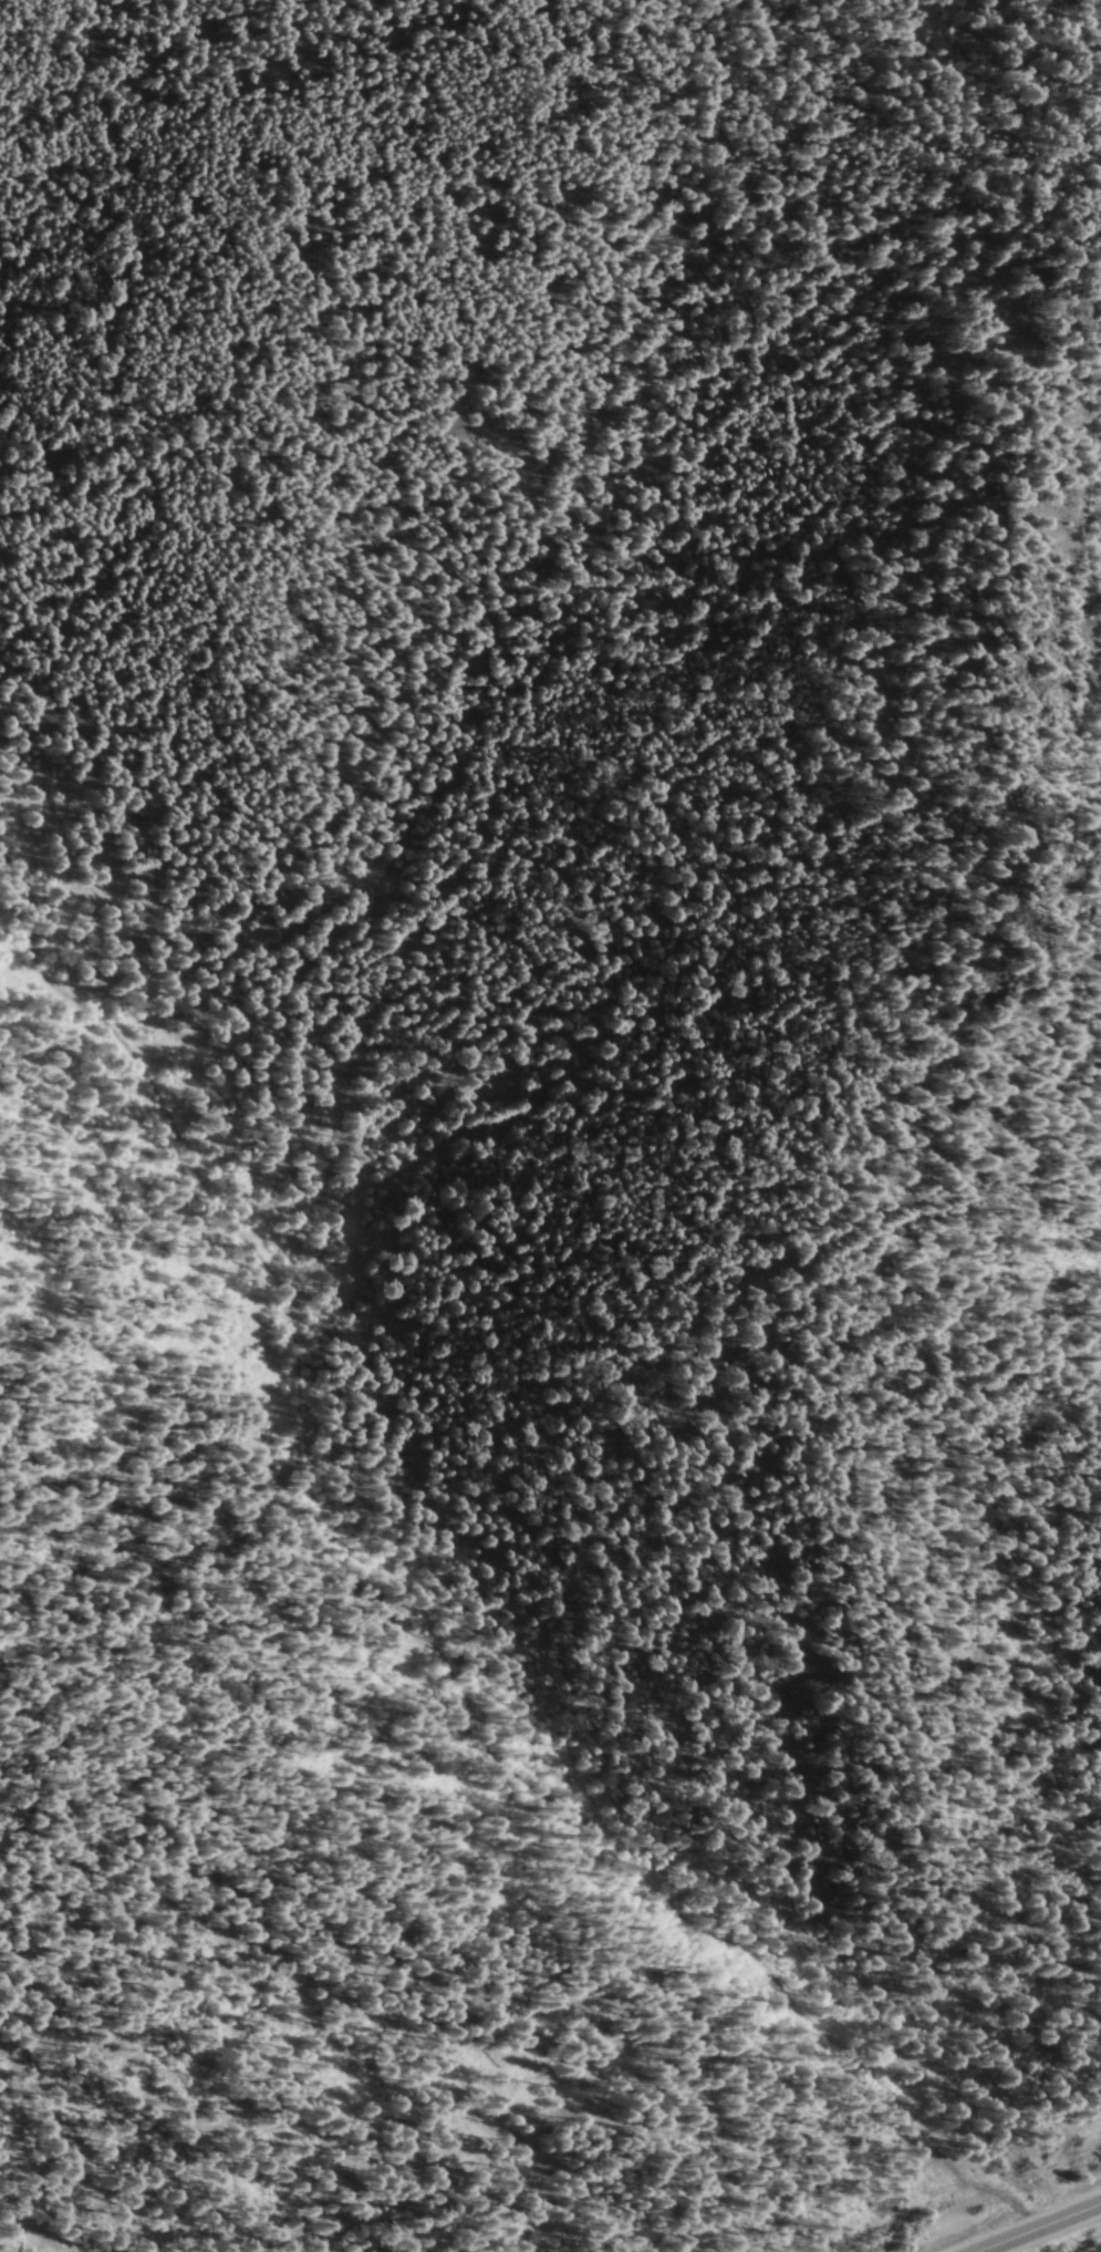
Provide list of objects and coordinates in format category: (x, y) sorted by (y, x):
road: (1053, 2233)

